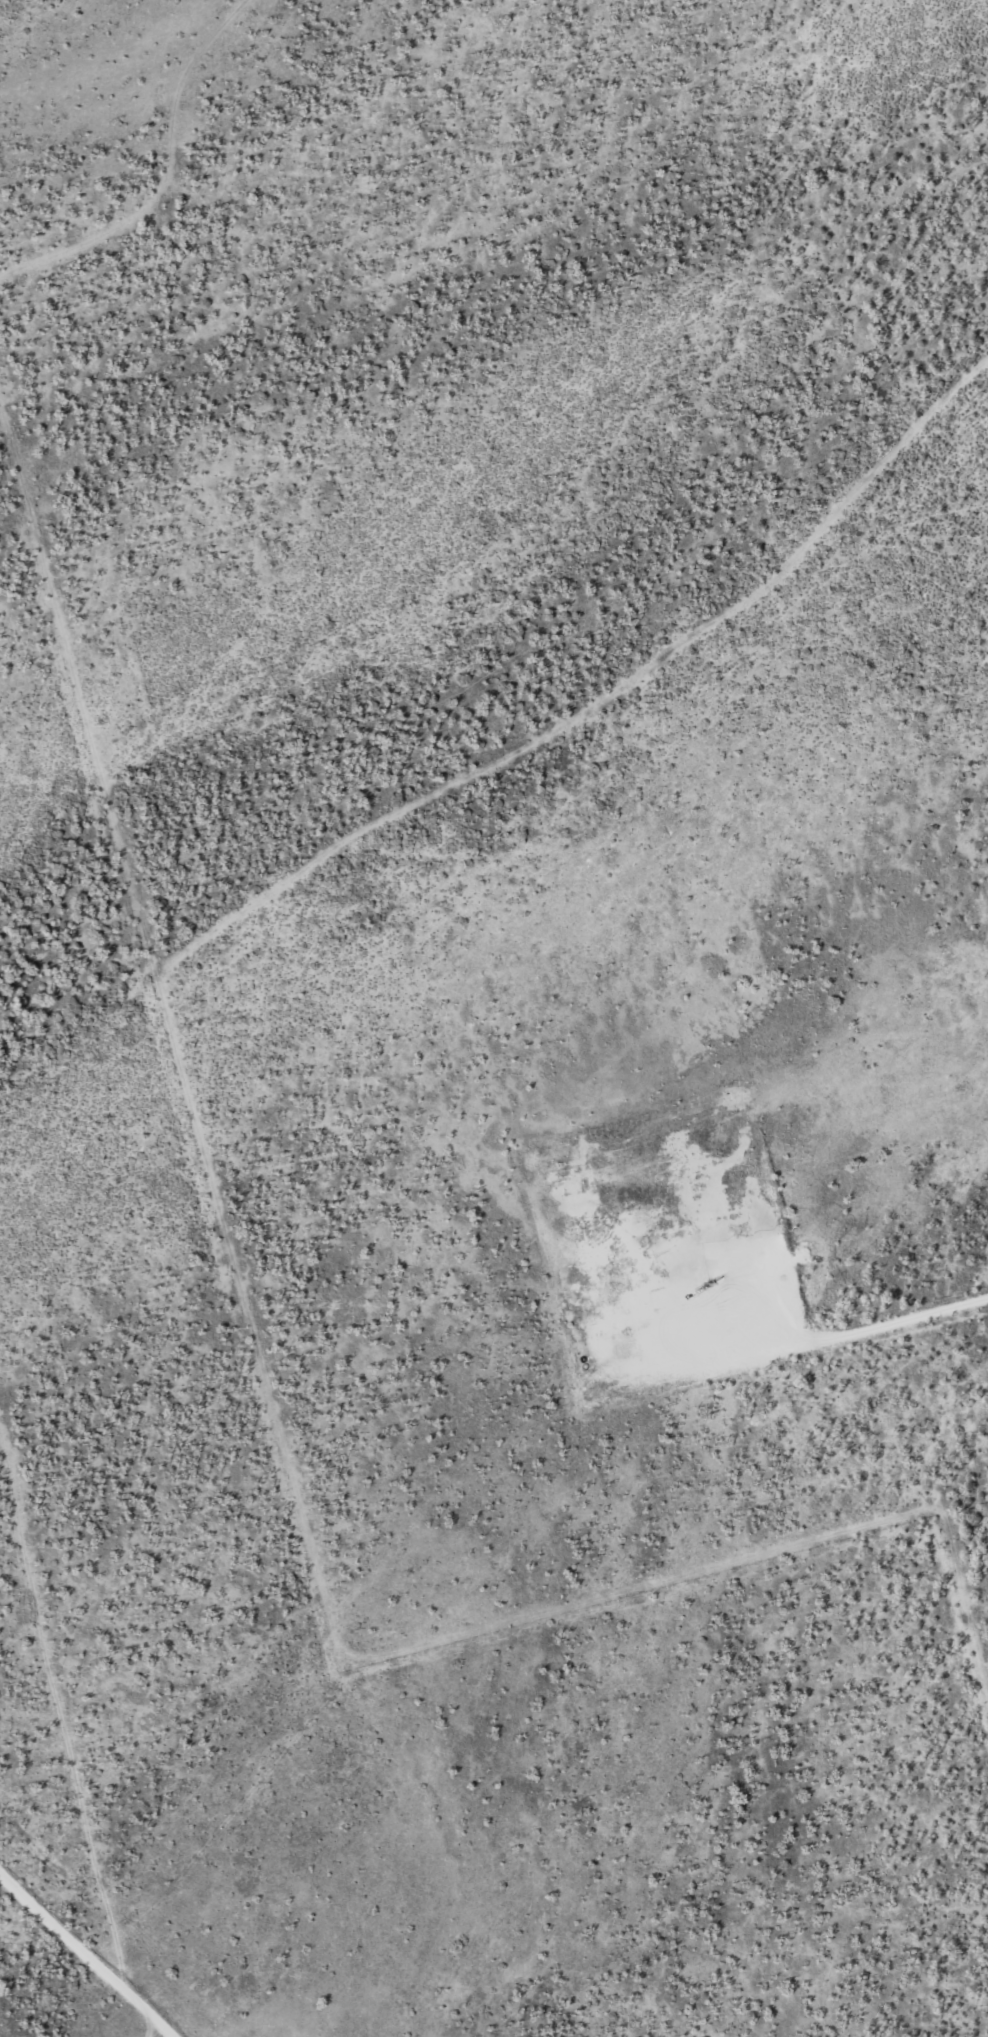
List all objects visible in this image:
road: (124, 1902)

